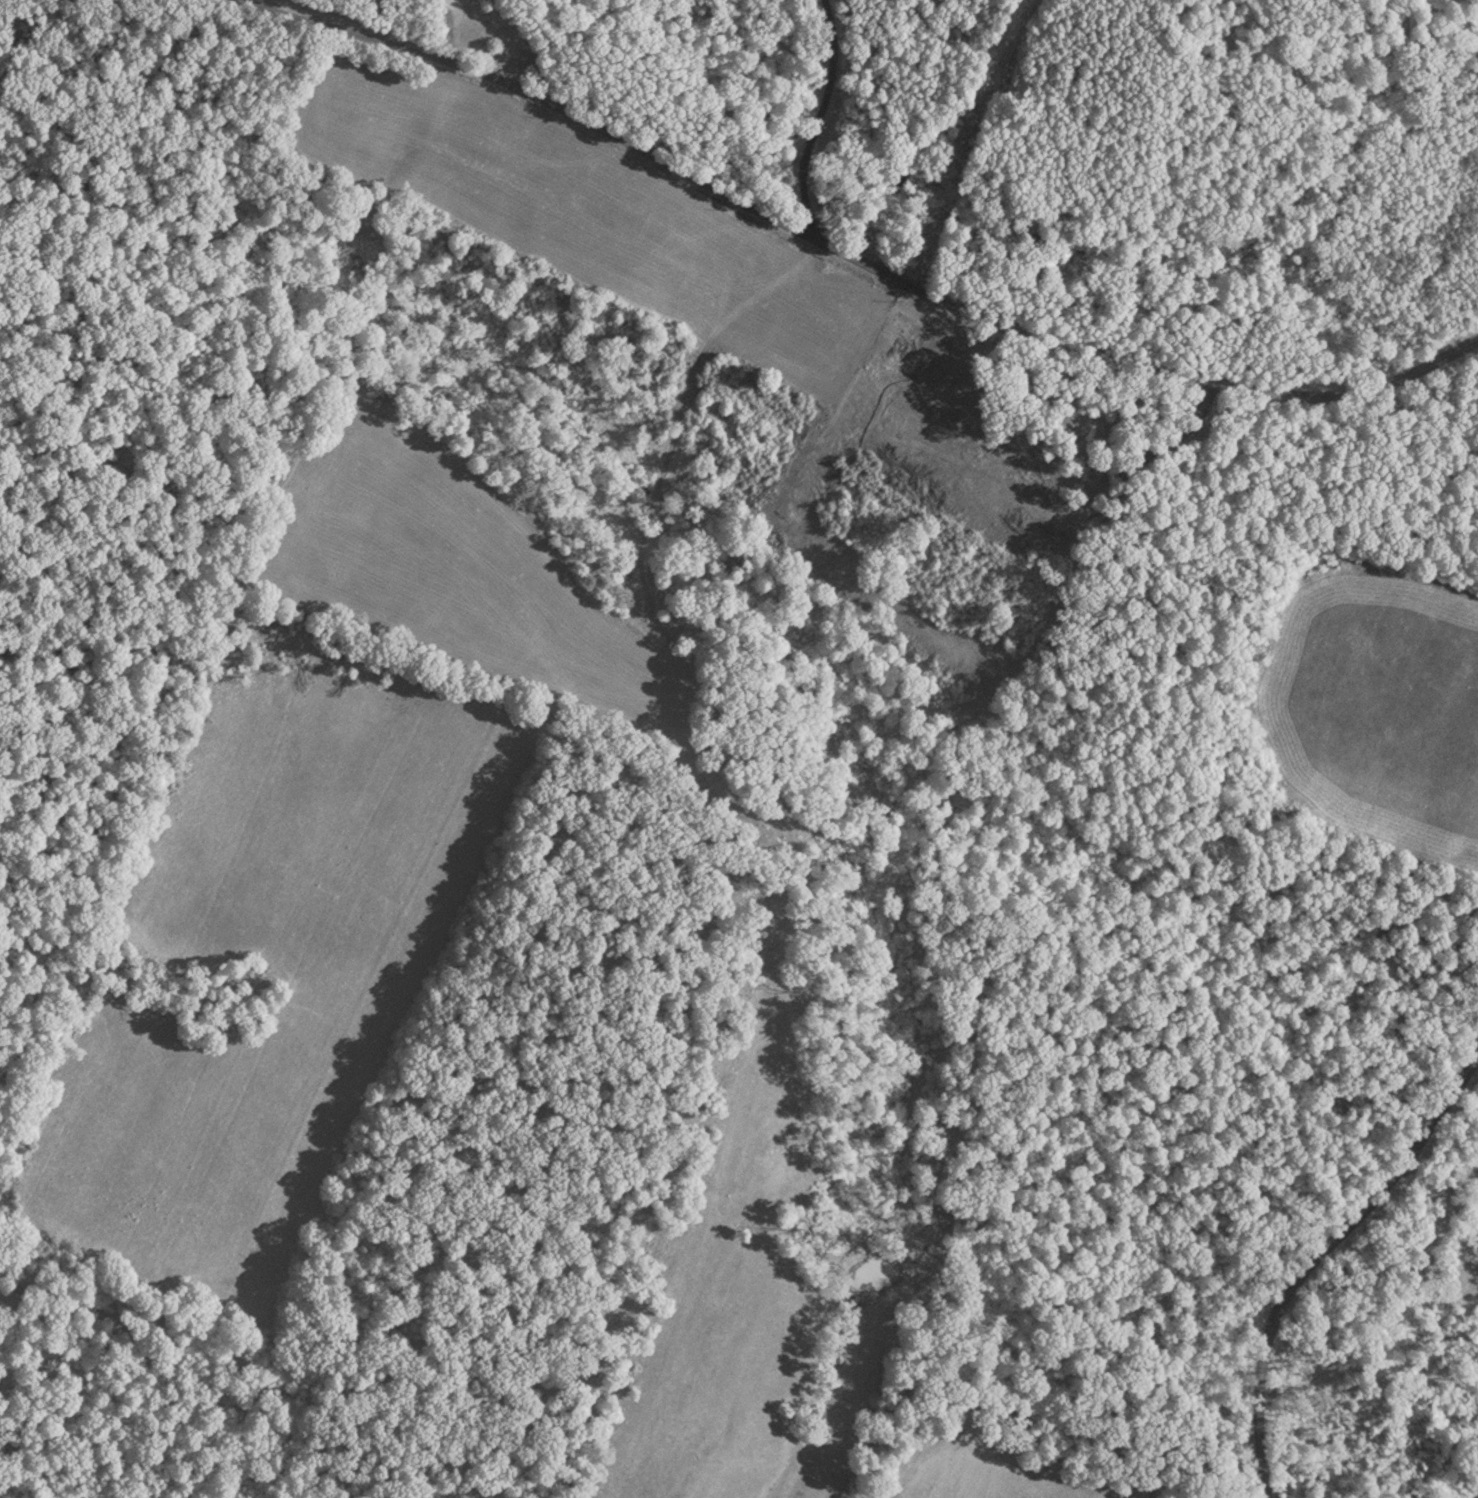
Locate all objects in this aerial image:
road: (564, 107)
road: (820, 115)
road: (943, 125)
road: (1164, 371)
road: (1316, 1257)

